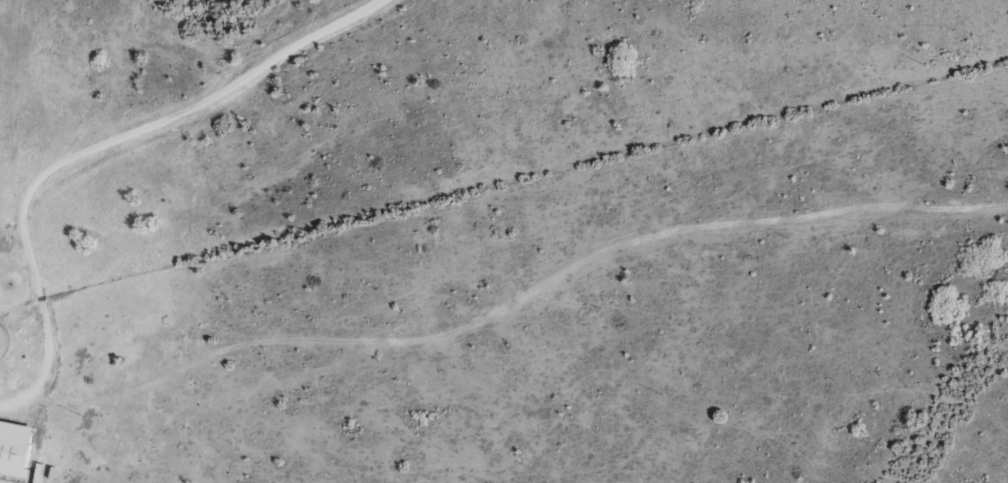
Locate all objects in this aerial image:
road: (92, 148)
building: (16, 448)

